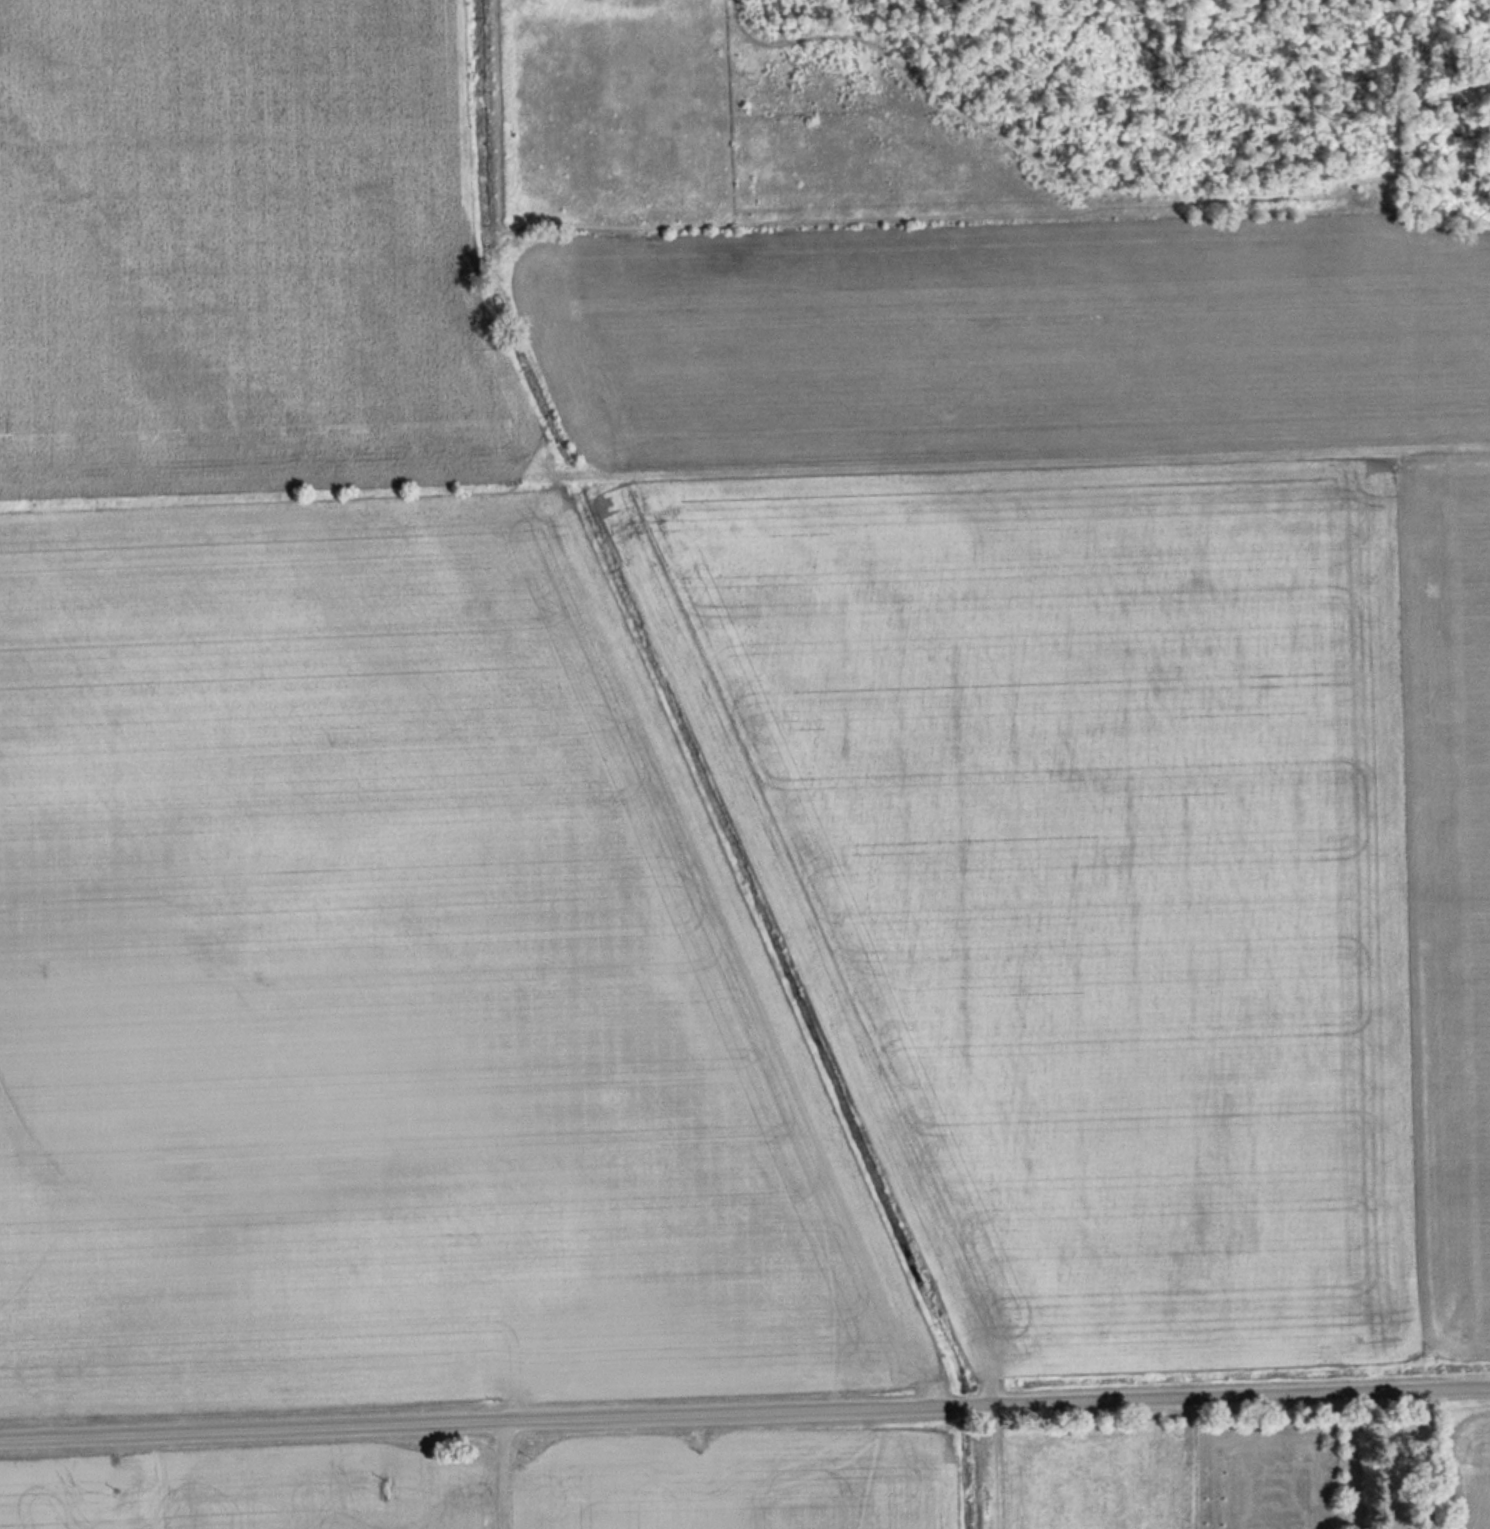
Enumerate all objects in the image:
road: (744, 1410)

